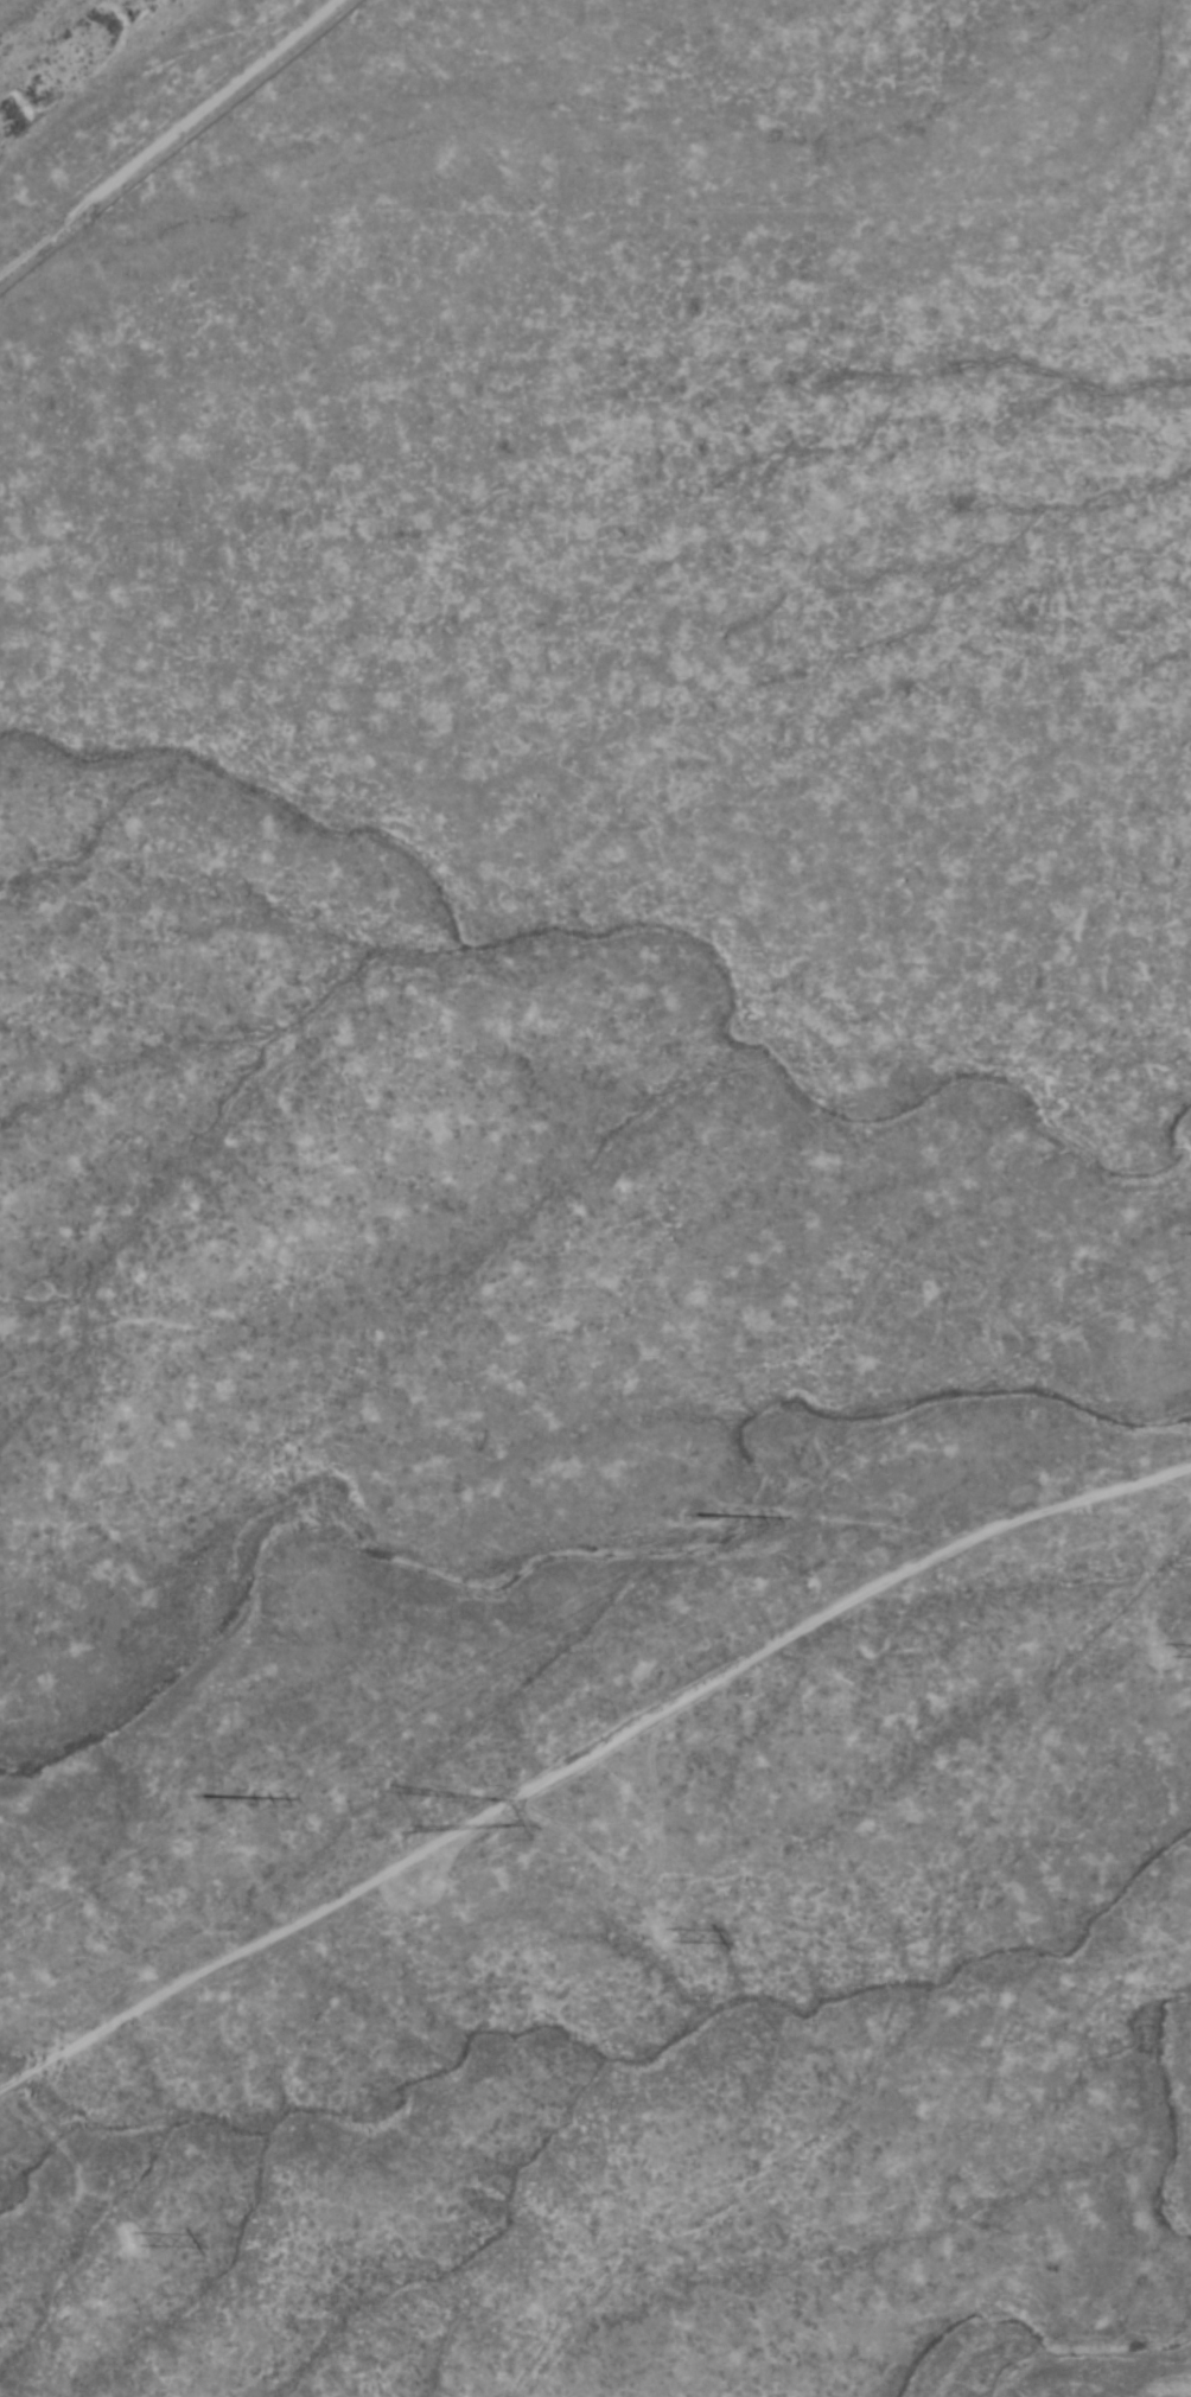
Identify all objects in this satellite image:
road: (191, 197)
power tower: (1173, 1233)
power tower: (686, 1521)
power tower: (1174, 1649)
power tower: (210, 1802)
power tower: (388, 1811)
power tower: (706, 1911)
power tower: (141, 2239)

